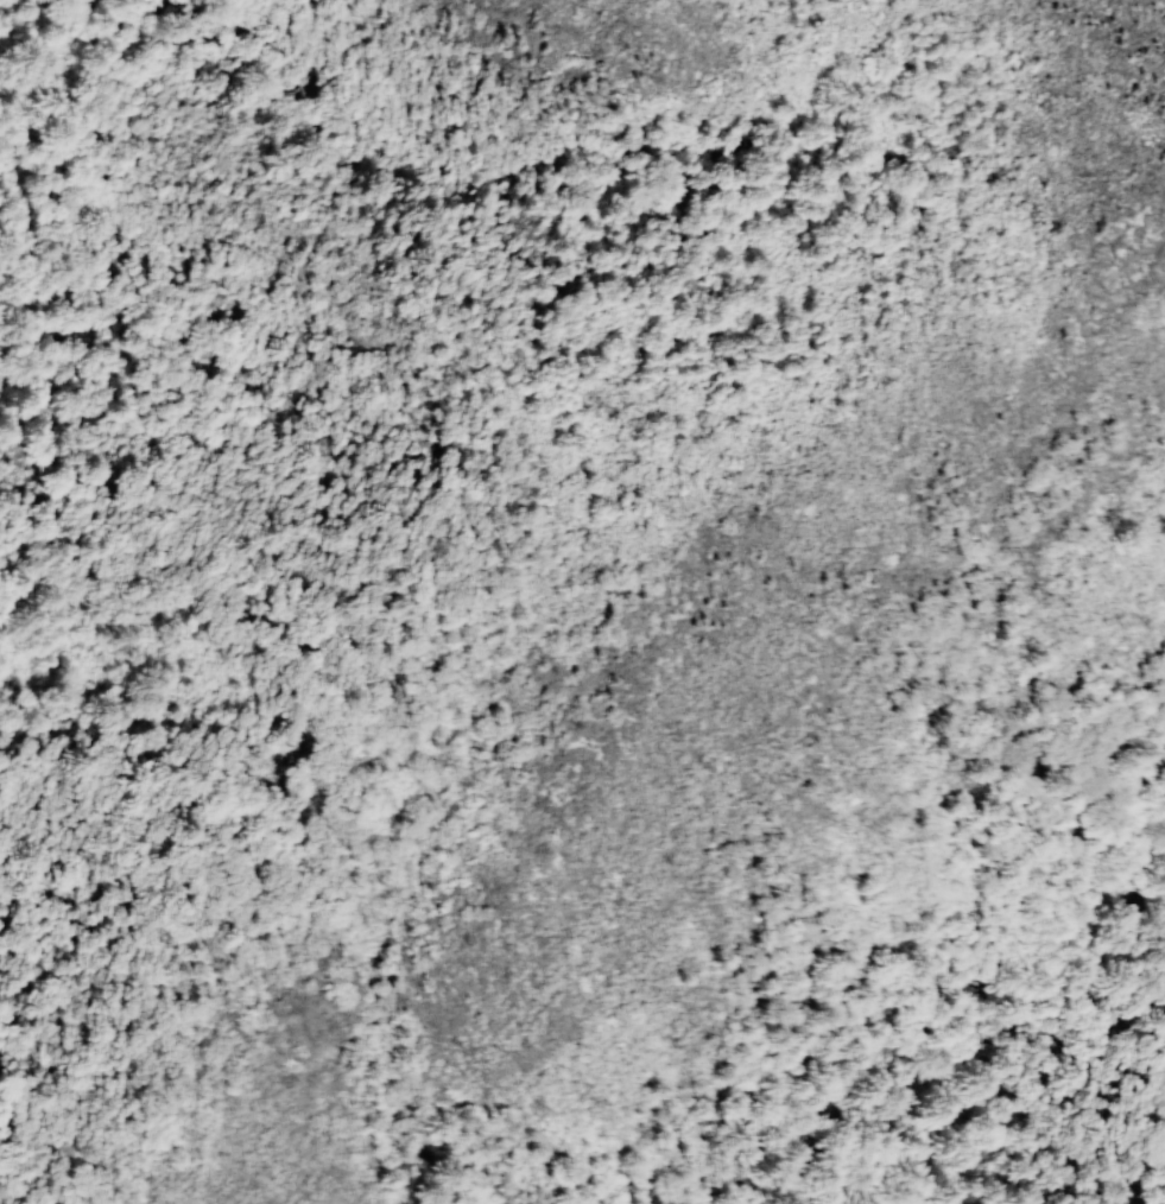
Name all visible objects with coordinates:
road: (0, 389)

